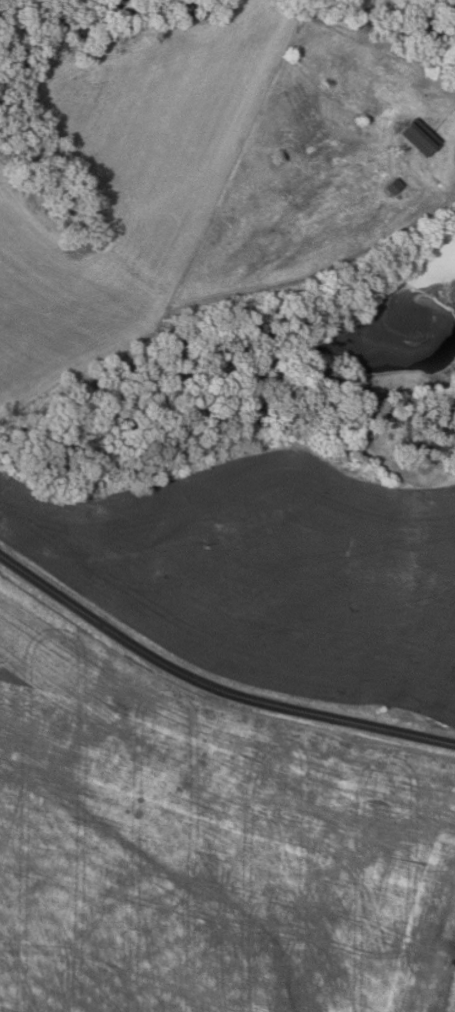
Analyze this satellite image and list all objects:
crop: (165, 125)
building: (422, 137)
building: (395, 186)
crop: (57, 297)
crop: (268, 575)
road: (211, 687)
crop: (206, 845)

